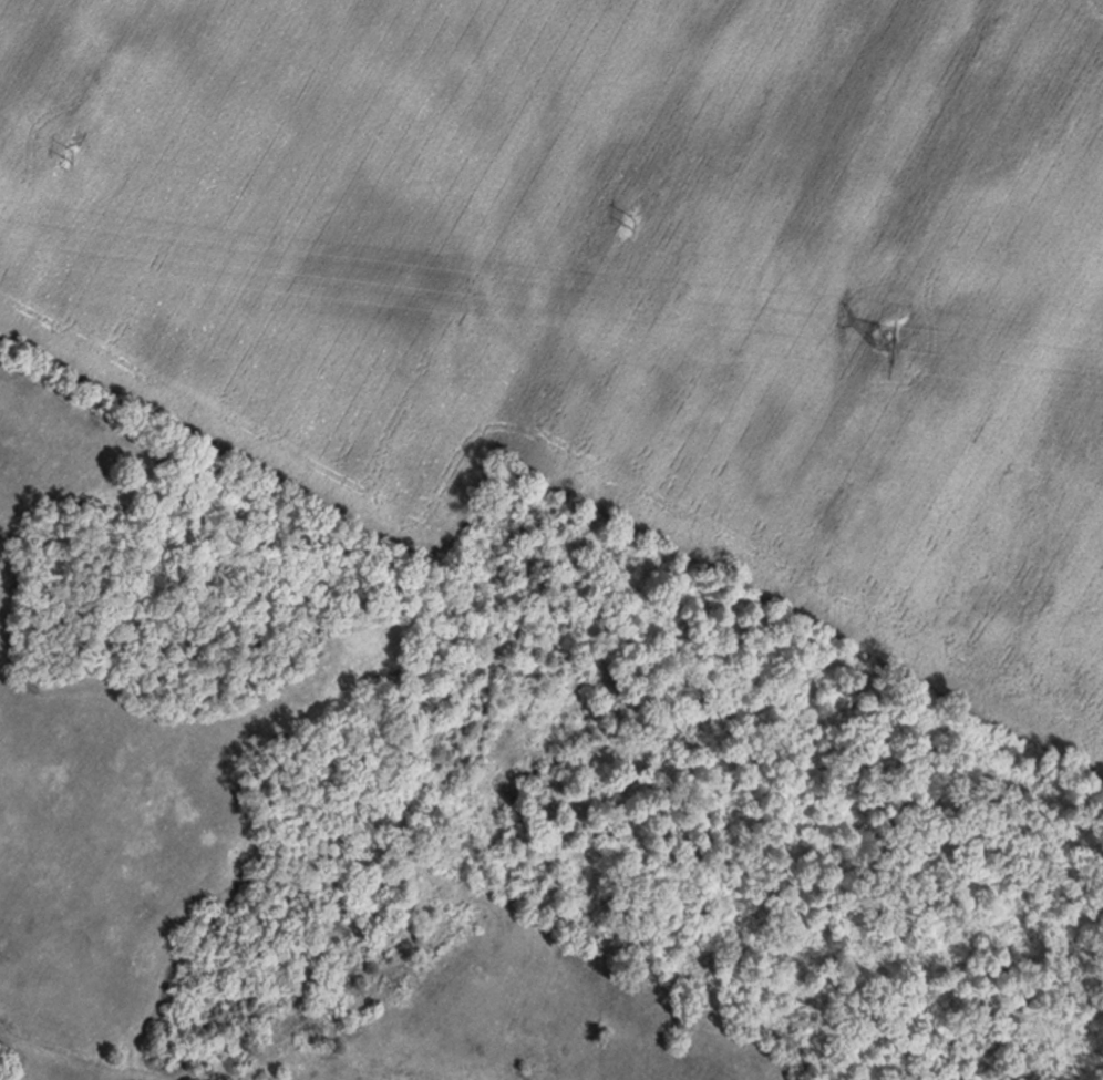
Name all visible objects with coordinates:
power tower: (61, 164)
power tower: (623, 226)
power tower: (917, 328)

